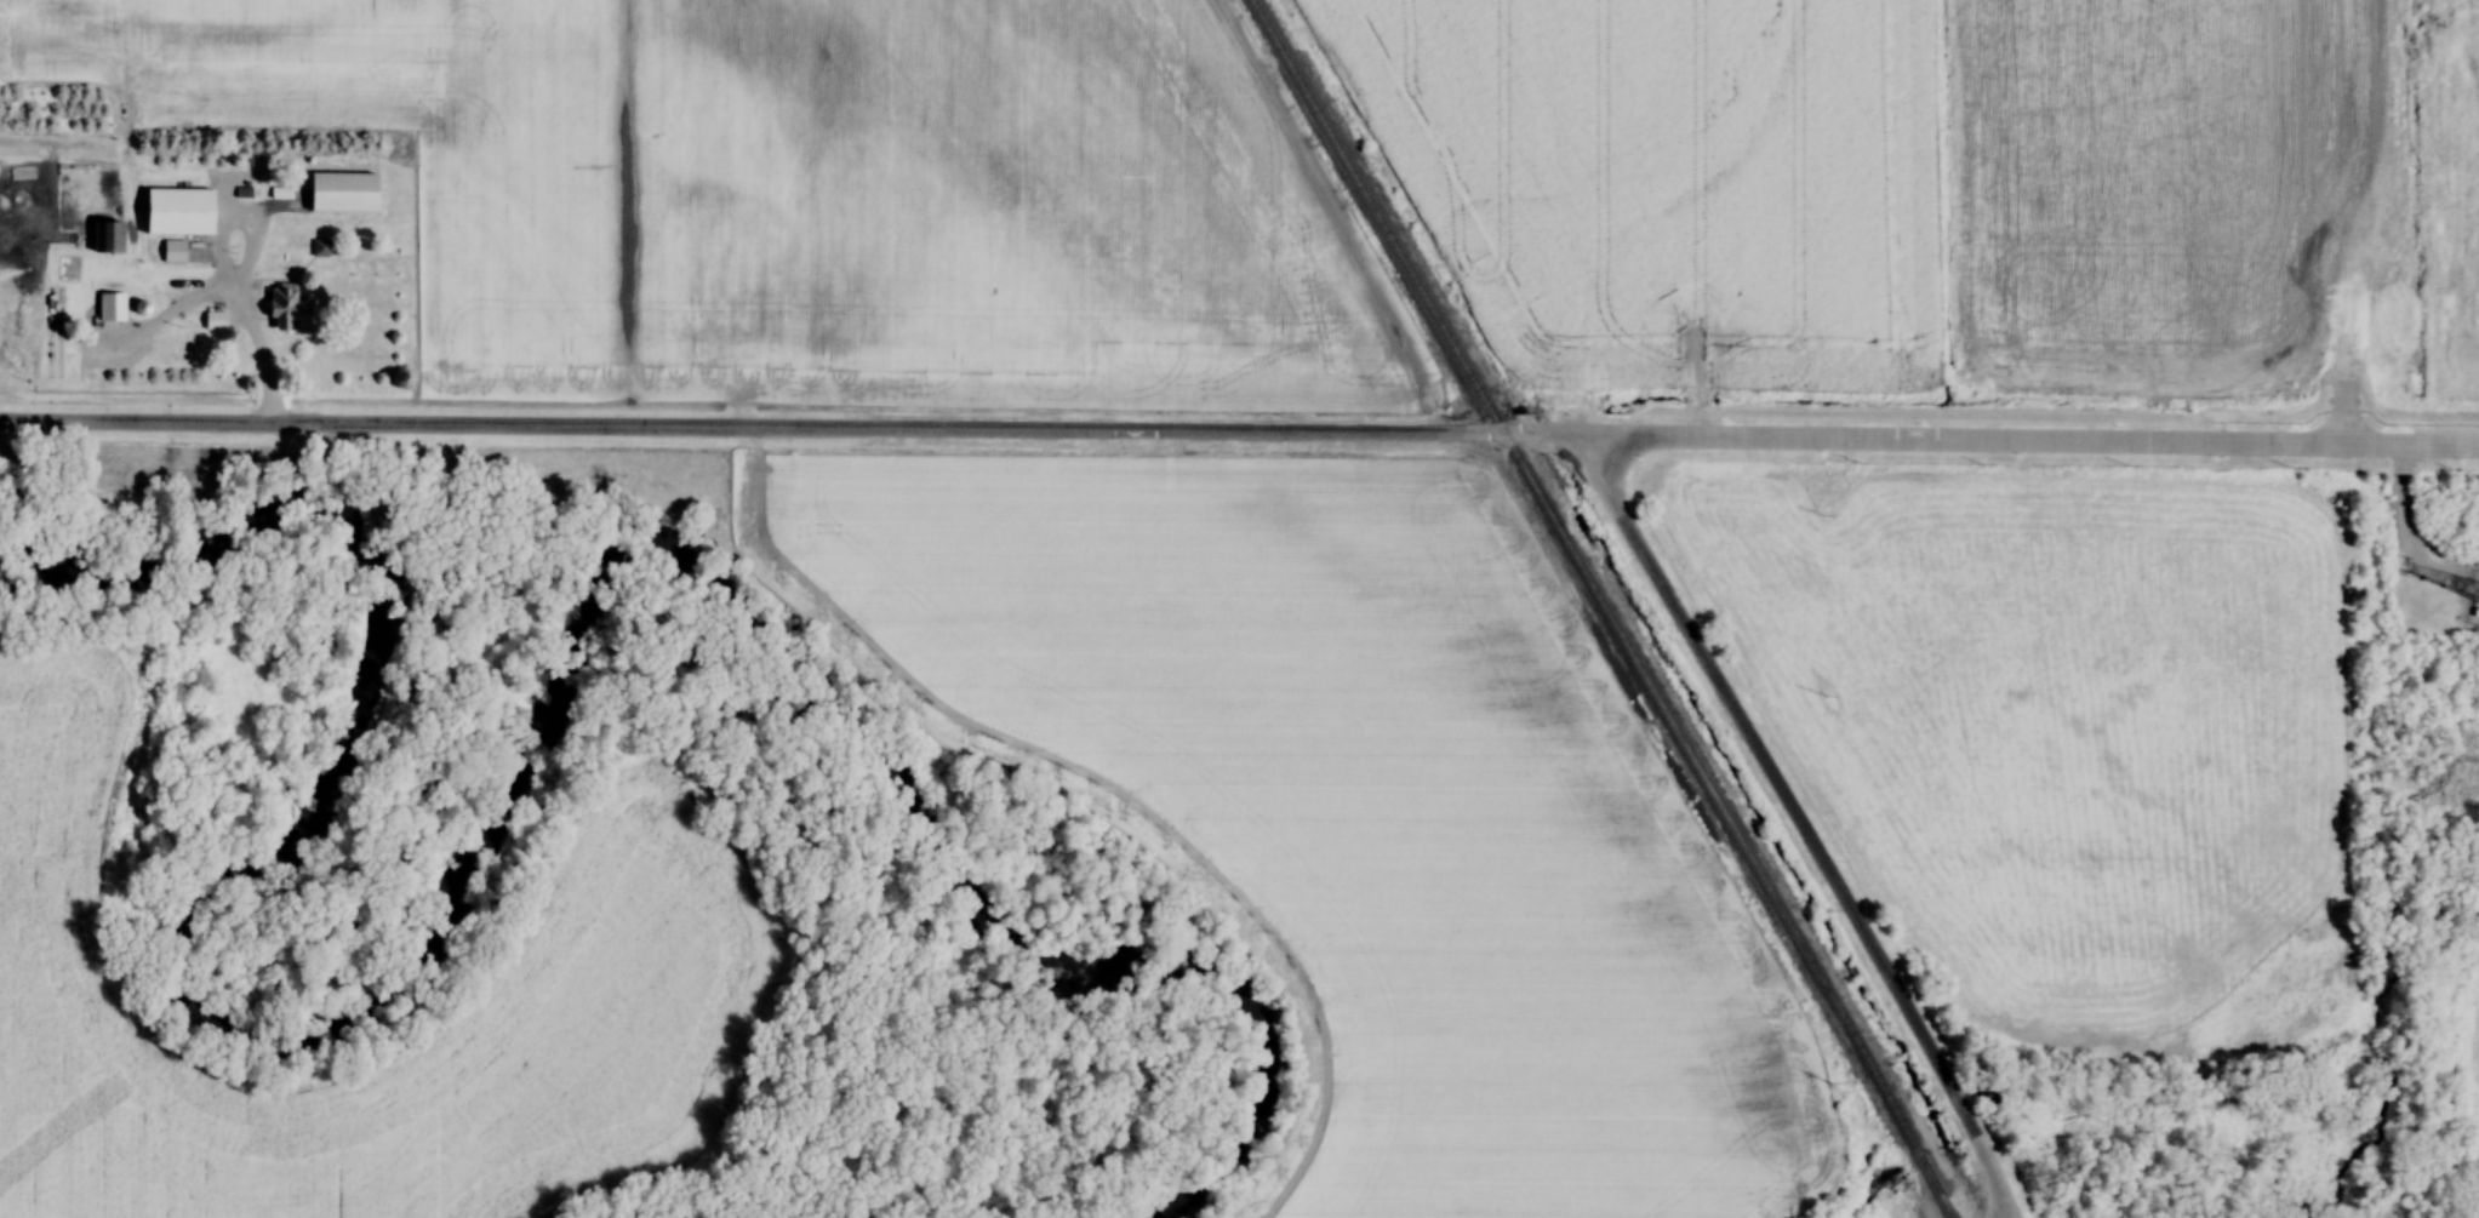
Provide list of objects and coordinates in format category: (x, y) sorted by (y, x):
building: (339, 184)
crop: (2170, 195)
building: (176, 205)
building: (104, 229)
building: (173, 247)
building: (318, 248)
road: (236, 297)
building: (109, 302)
building: (276, 304)
road: (159, 316)
building: (211, 319)
road: (737, 428)
road: (1538, 434)
road: (1961, 441)
road: (2399, 447)
railway: (1603, 607)
crop: (1369, 812)
river: (512, 825)
road: (1798, 827)
crop: (623, 930)

